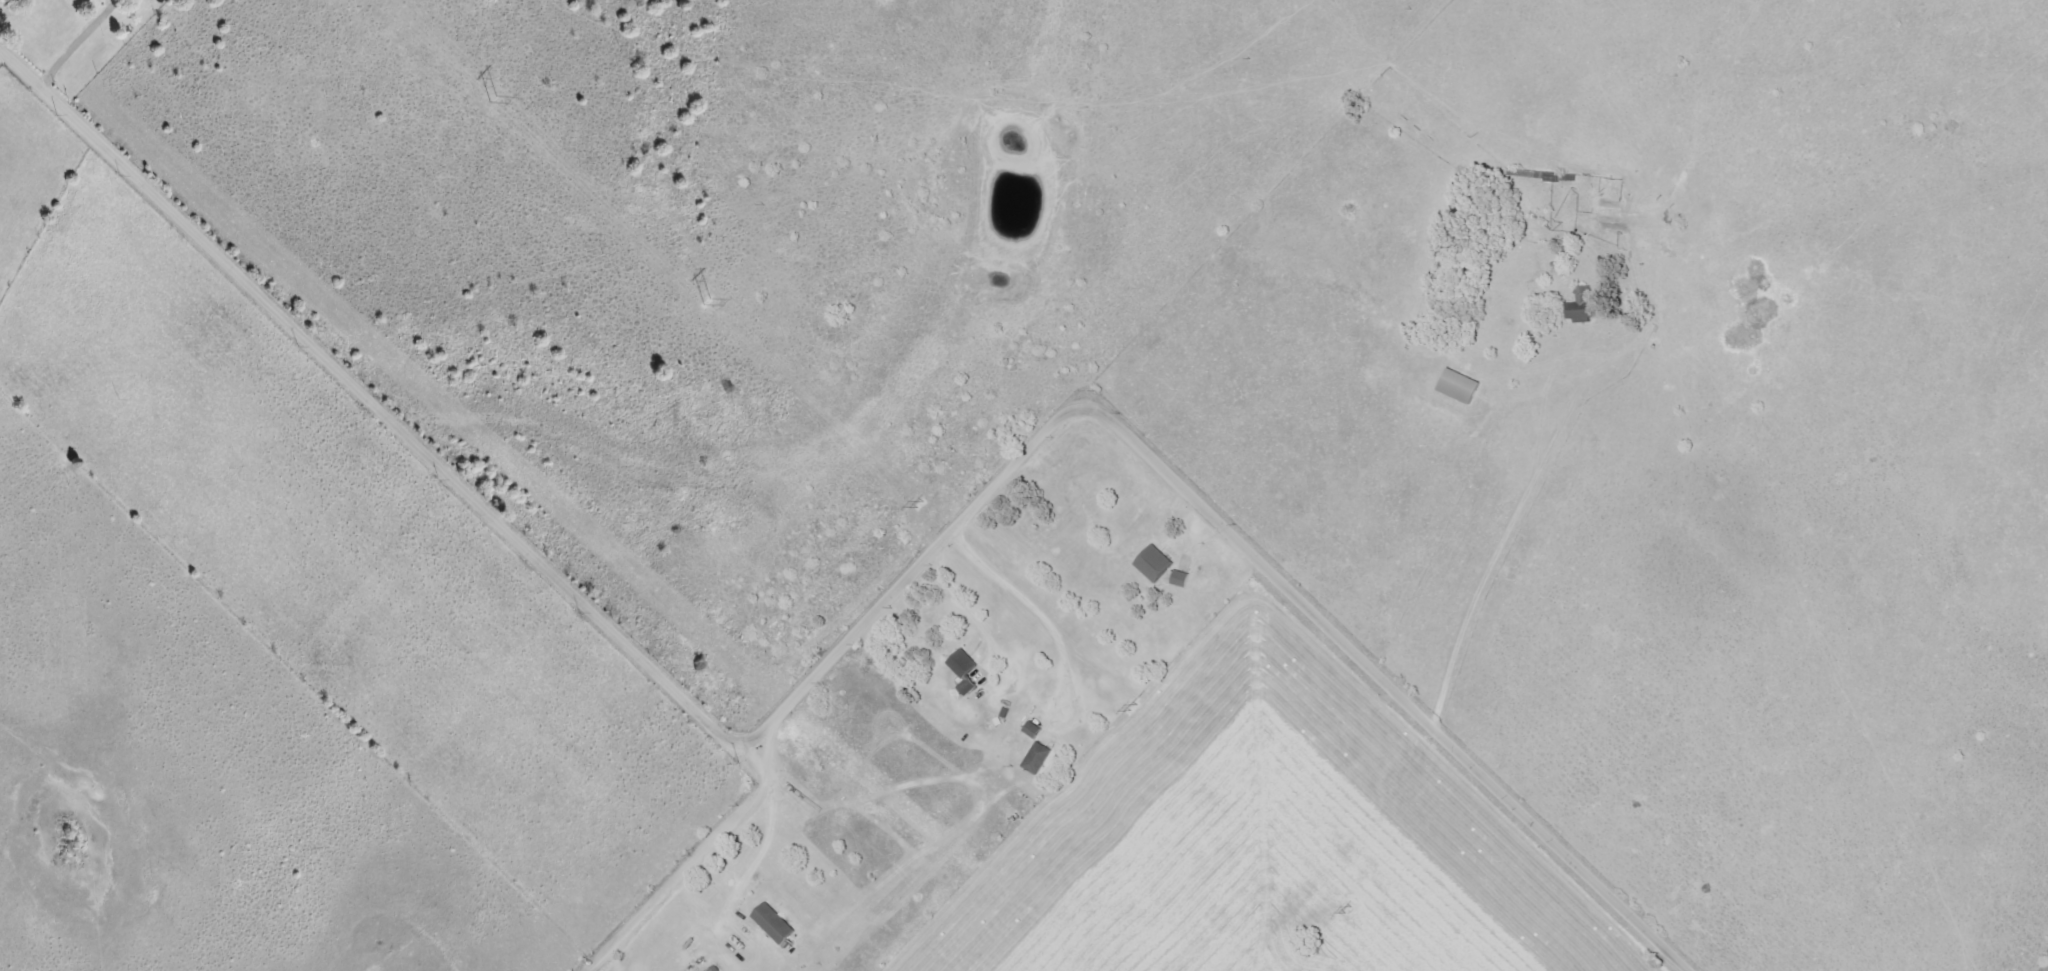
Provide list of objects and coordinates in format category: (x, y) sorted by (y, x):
road: (88, 37)
power tower: (483, 97)
road: (1581, 198)
building: (1612, 213)
power tower: (697, 299)
building: (1584, 306)
building: (1462, 386)
road: (1586, 462)
power tower: (915, 503)
building: (1143, 561)
building: (1155, 564)
building: (1182, 579)
road: (967, 613)
road: (1041, 619)
road: (856, 632)
building: (964, 664)
building: (969, 685)
power tower: (1125, 707)
building: (1035, 730)
building: (1039, 759)
road: (767, 838)
road: (697, 864)
power tower: (1342, 906)
building: (776, 924)
road: (596, 969)

